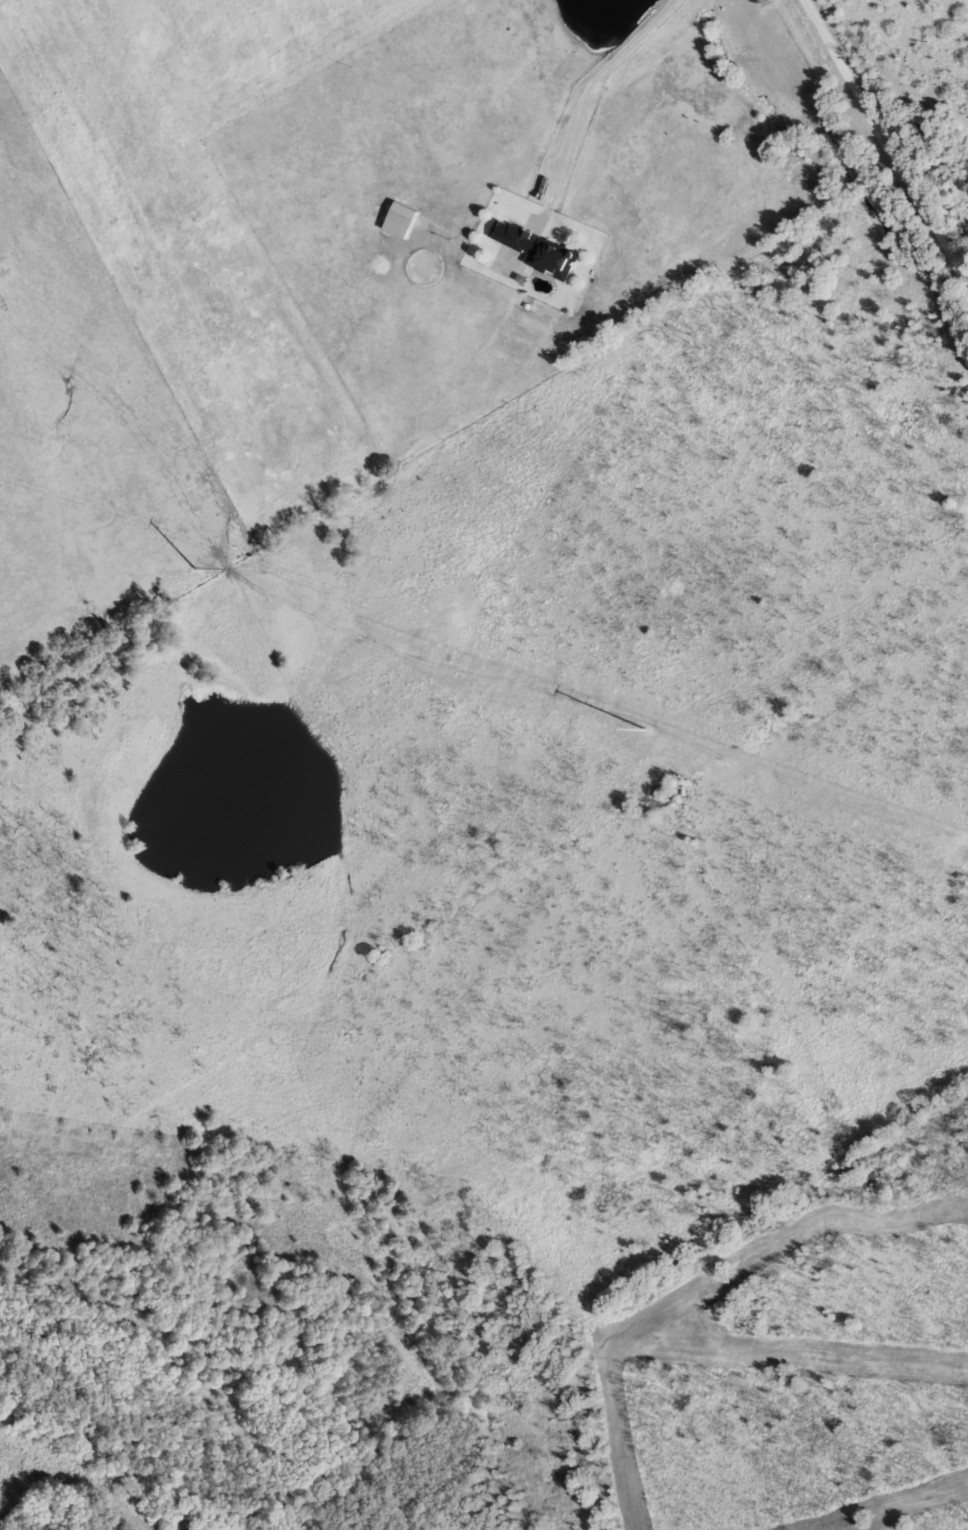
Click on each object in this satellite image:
road: (593, 84)
road: (888, 138)
building: (396, 221)
building: (533, 249)
power tower: (192, 568)
power tower: (648, 730)

